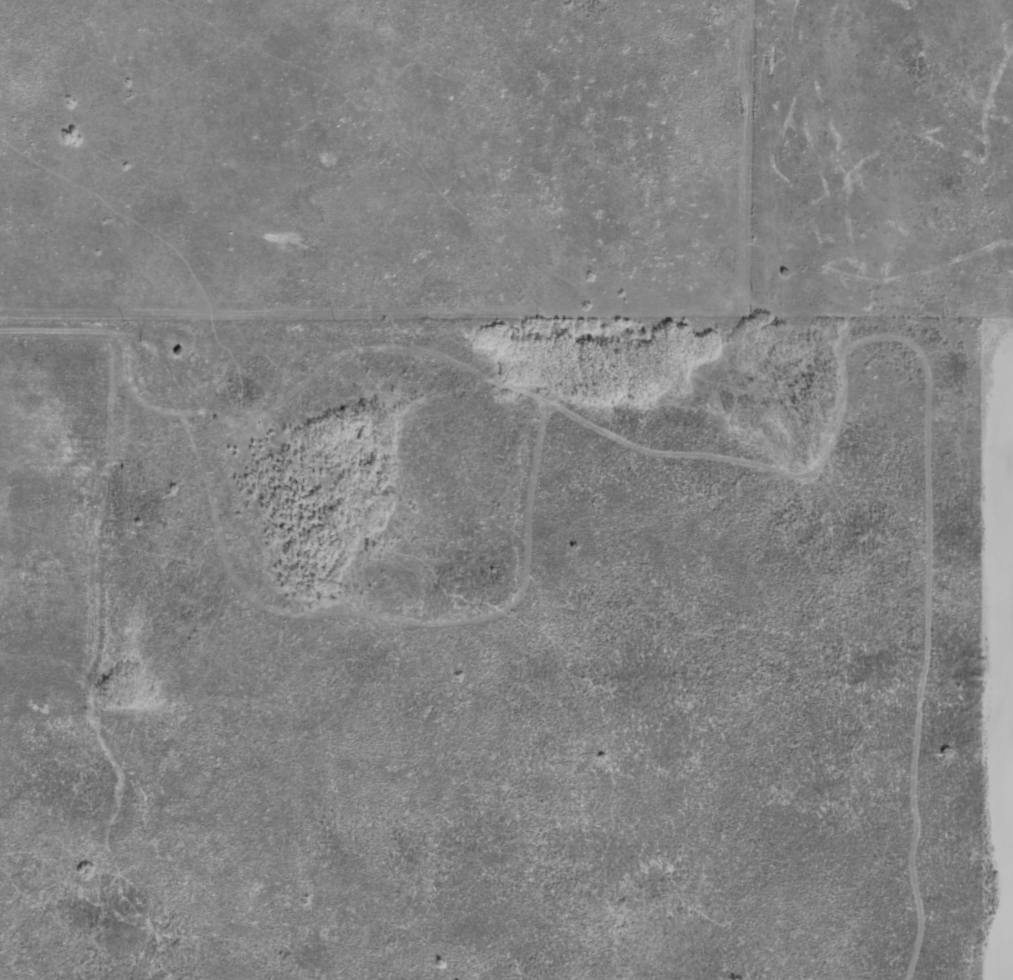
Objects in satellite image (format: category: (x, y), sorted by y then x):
road: (79, 326)

